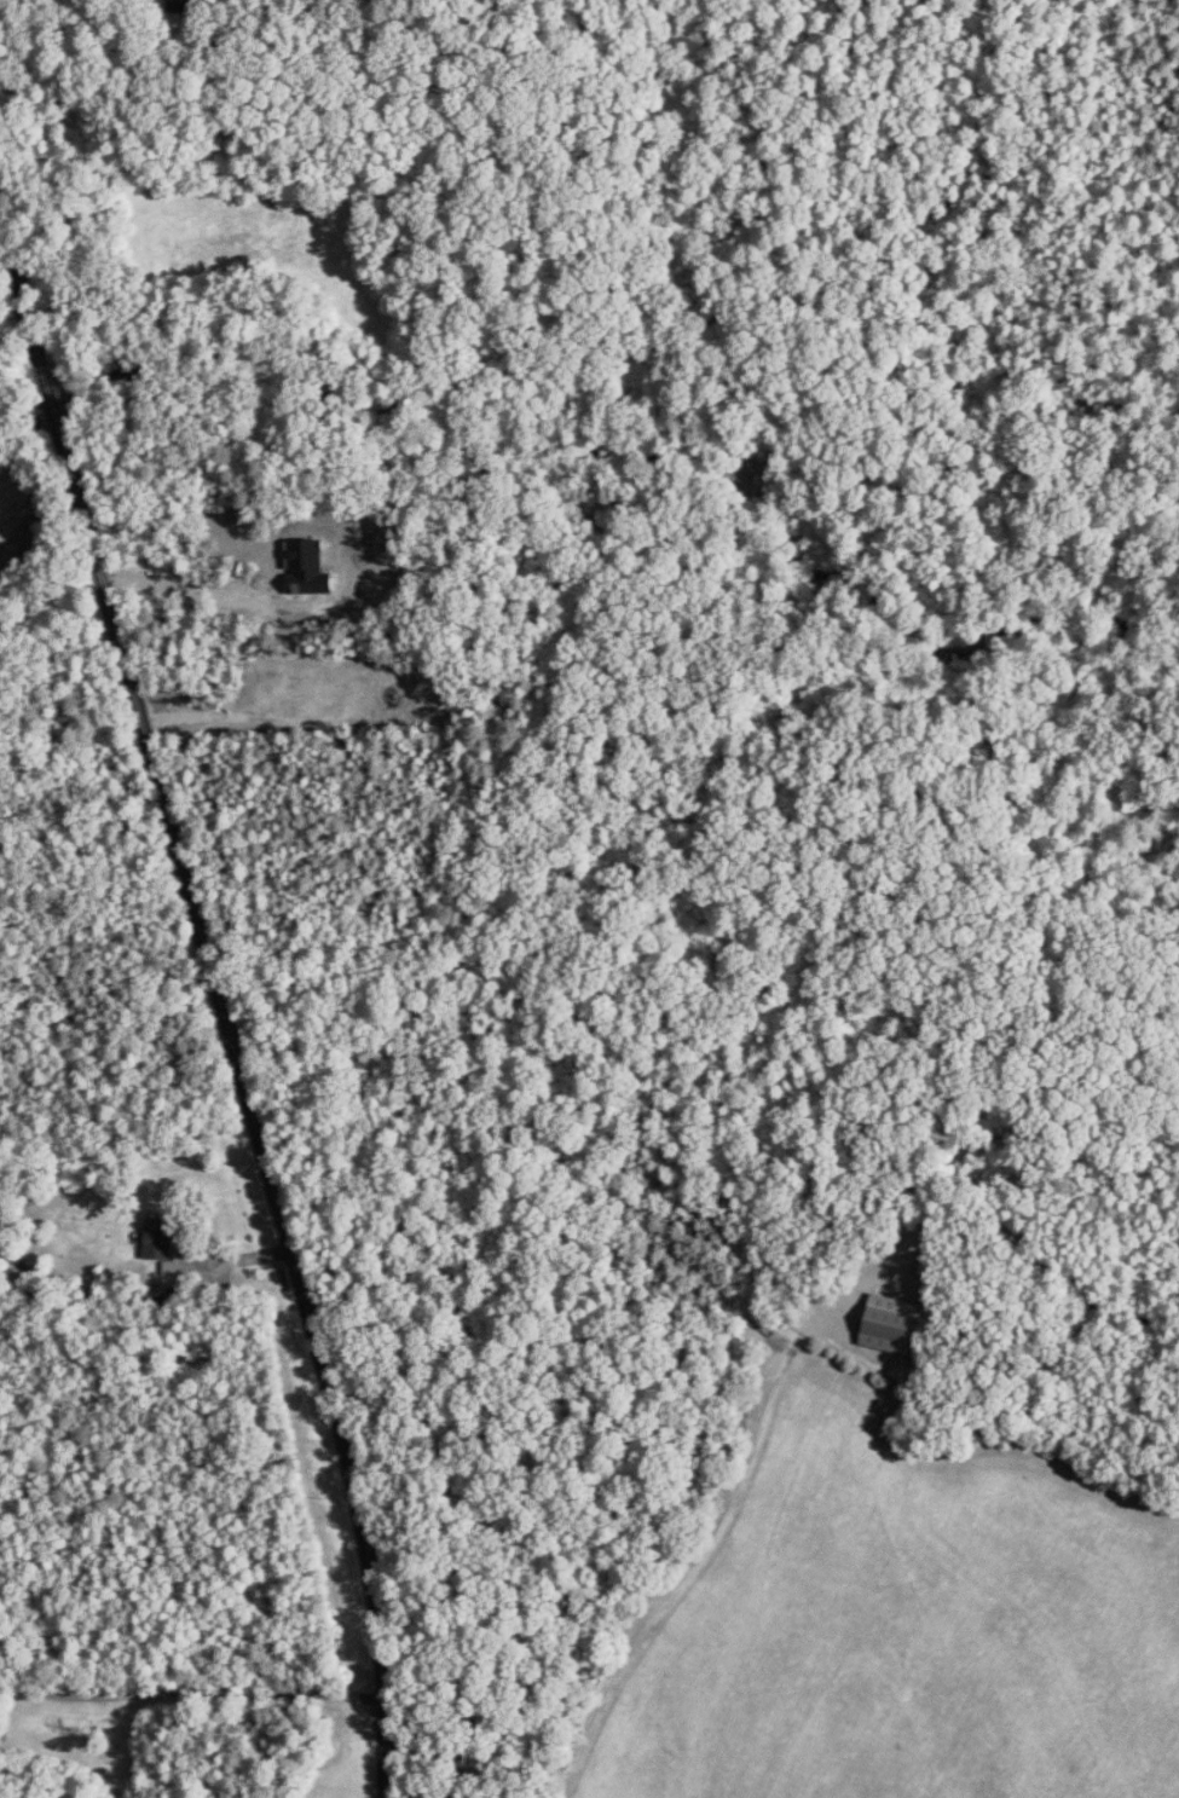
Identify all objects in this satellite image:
building: (180, 7)
road: (198, 713)
road: (216, 999)
building: (158, 1239)
building: (894, 1326)
road: (687, 1572)
road: (191, 1693)

